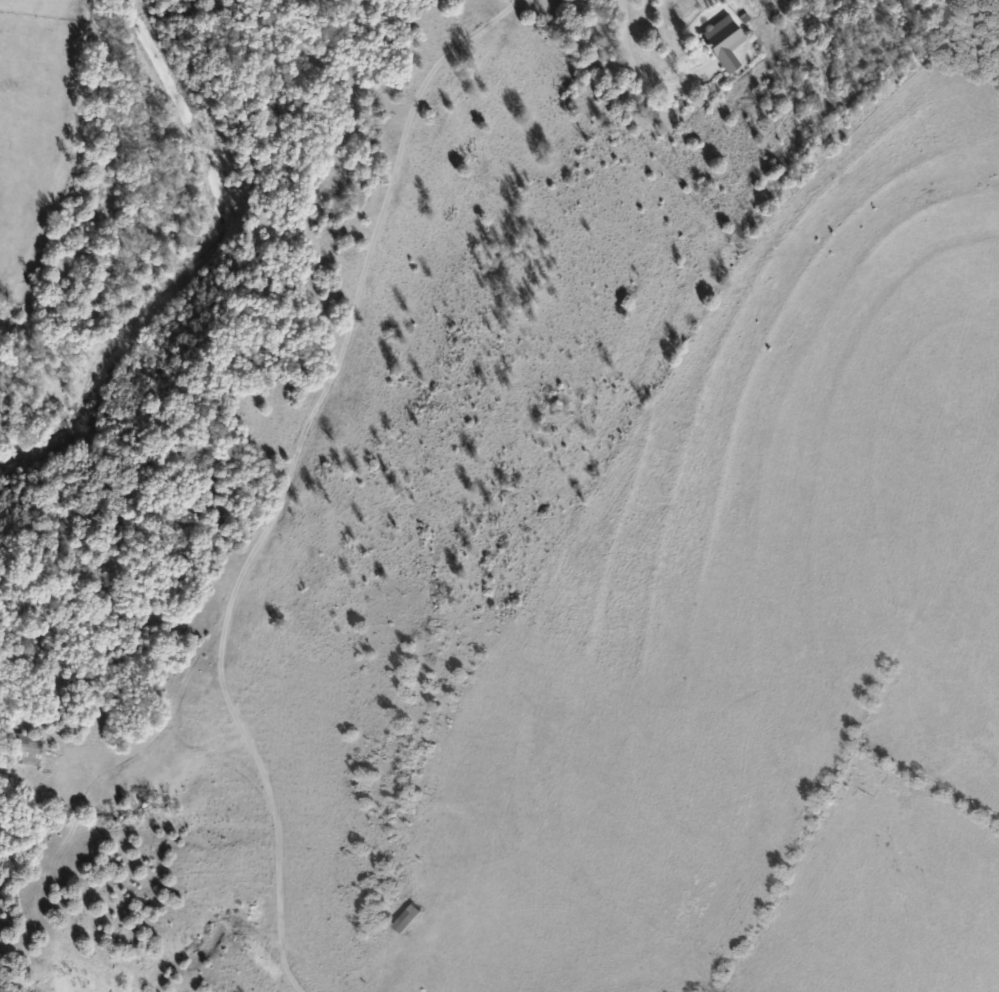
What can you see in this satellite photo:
building: (723, 42)
road: (628, 75)

